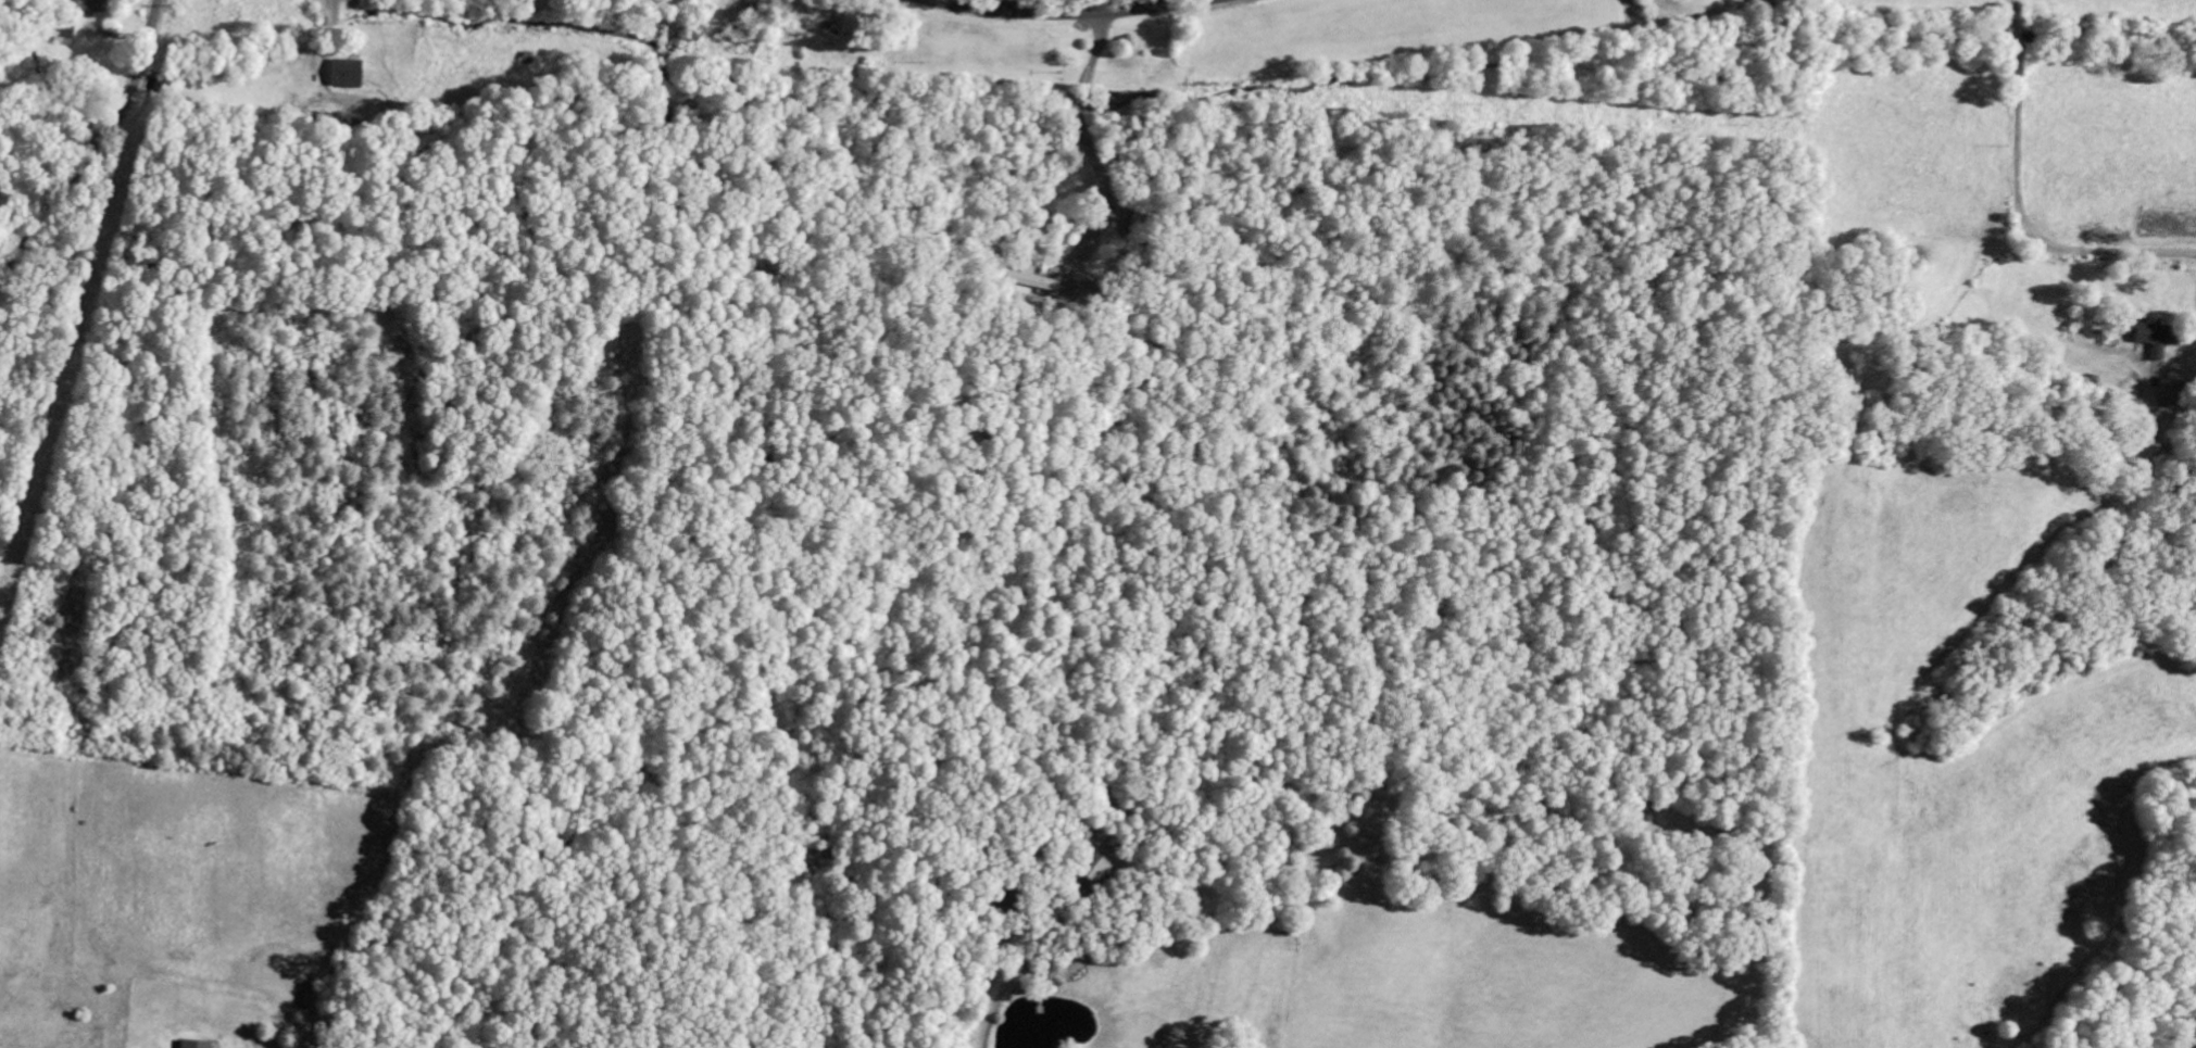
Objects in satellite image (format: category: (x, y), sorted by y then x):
building: (91, 5)
road: (1066, 12)
building: (64, 35)
building: (343, 74)
road: (1088, 137)
road: (98, 151)
road: (2019, 201)
building: (1032, 279)
building: (2148, 336)
road: (2185, 358)
building: (2168, 393)
building: (1094, 868)
building: (192, 1045)

